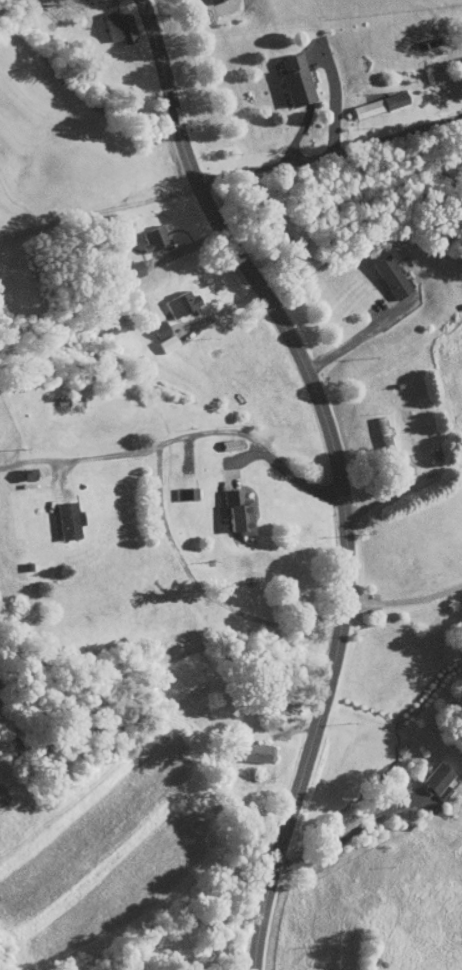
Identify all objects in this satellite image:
road: (232, 5)
building: (105, 19)
building: (280, 73)
building: (365, 98)
road: (335, 101)
road: (330, 154)
building: (140, 232)
building: (119, 264)
building: (376, 269)
building: (168, 297)
road: (221, 313)
building: (150, 331)
road: (352, 342)
road: (181, 435)
road: (339, 469)
building: (169, 487)
road: (386, 495)
building: (222, 506)
building: (54, 513)
road: (199, 586)
road: (404, 601)
building: (242, 746)
building: (424, 775)
road: (355, 829)

